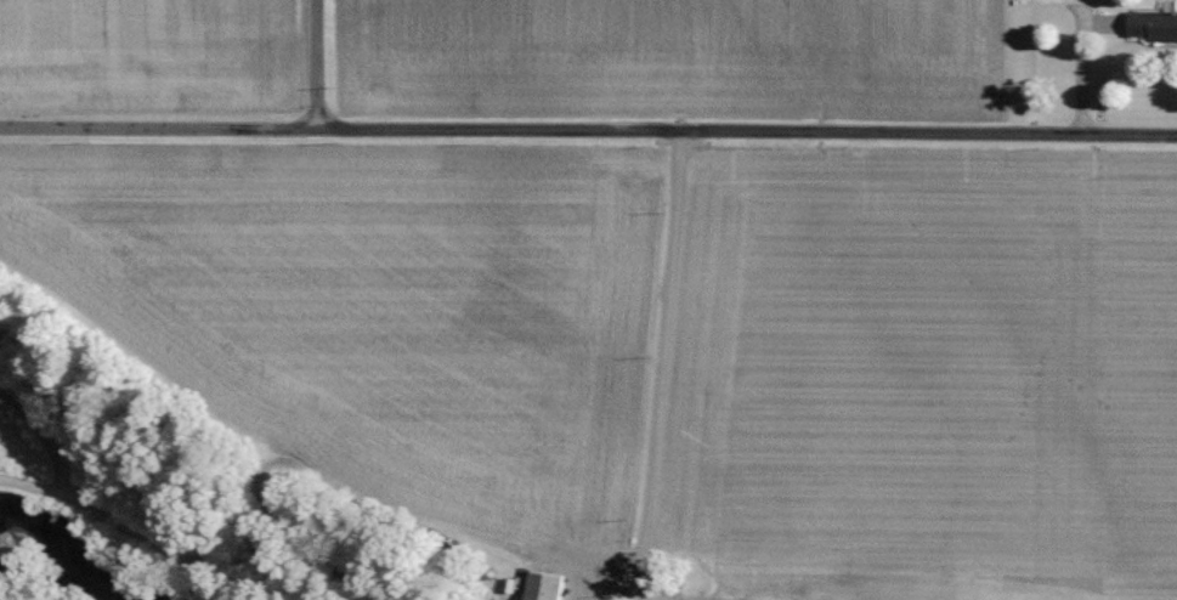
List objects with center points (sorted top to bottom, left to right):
building: (1153, 26)
road: (1077, 58)
road: (312, 63)
road: (588, 128)
road: (658, 367)
building: (543, 587)
road: (633, 587)

